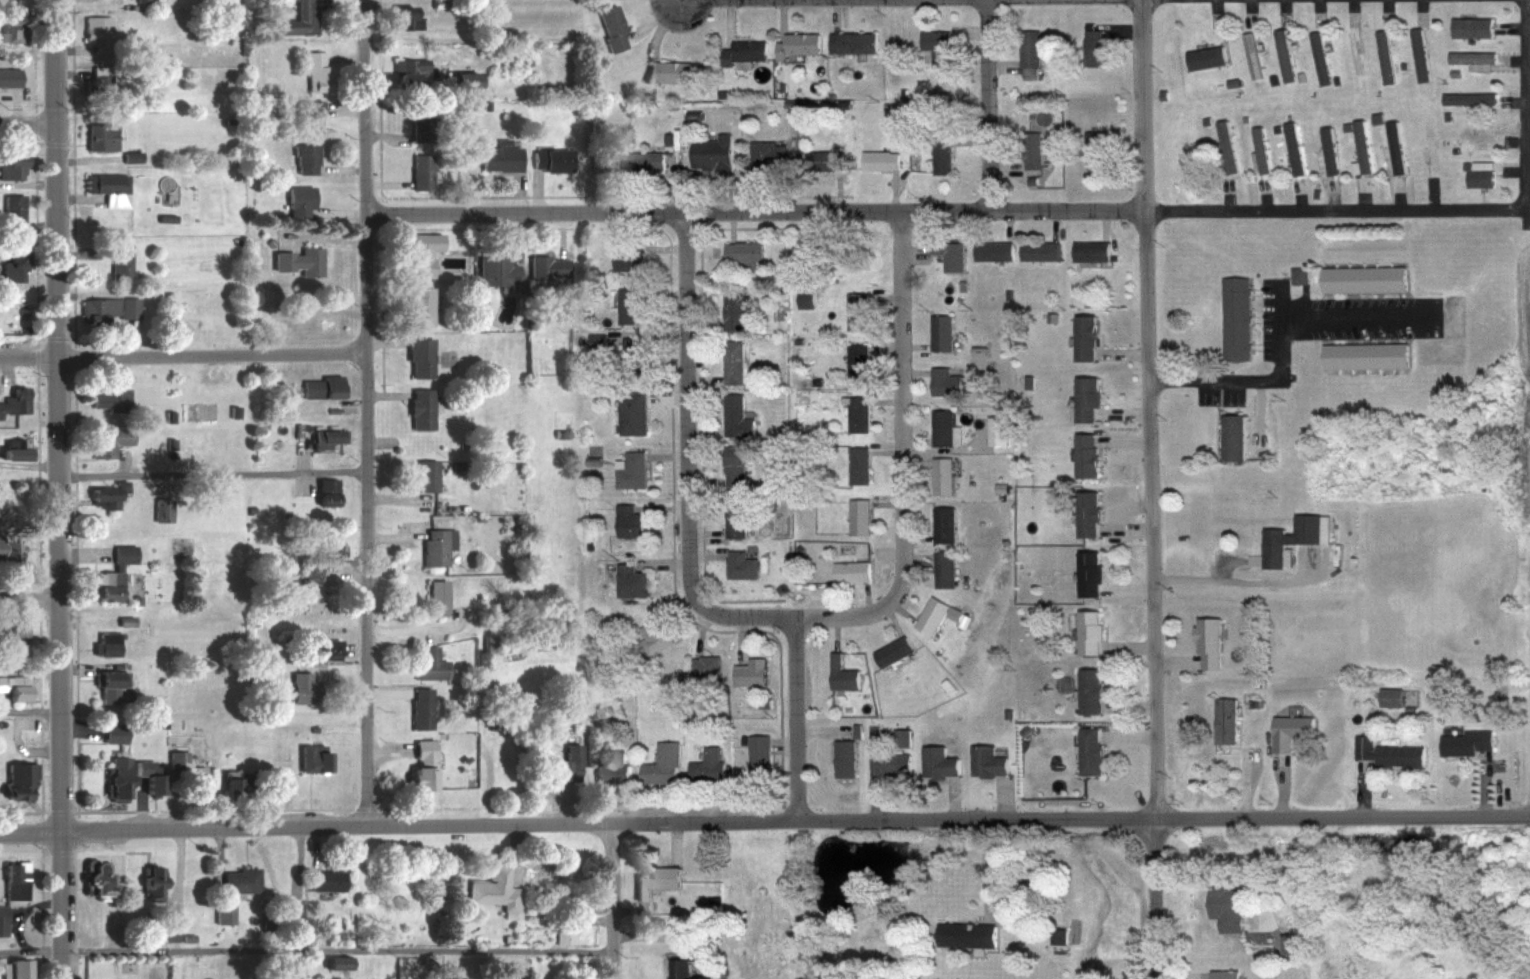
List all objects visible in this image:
road: (1283, 8)
road: (1249, 9)
road: (1352, 9)
road: (1387, 9)
road: (1421, 9)
road: (1319, 10)
building: (402, 17)
building: (295, 19)
building: (9, 22)
road: (1115, 23)
road: (1513, 23)
building: (1470, 25)
building: (609, 27)
road: (1219, 28)
building: (95, 30)
building: (853, 41)
building: (799, 43)
building: (937, 46)
building: (1092, 46)
building: (744, 50)
building: (1029, 52)
building: (1250, 52)
building: (1354, 52)
building: (1418, 52)
building: (1284, 53)
building: (1204, 55)
building: (1320, 55)
building: (1383, 55)
building: (1471, 57)
road: (1515, 59)
building: (1403, 62)
road: (1001, 64)
building: (407, 69)
building: (312, 70)
building: (673, 70)
building: (1454, 71)
building: (1299, 74)
building: (7, 76)
building: (1272, 76)
building: (1335, 77)
building: (99, 80)
building: (460, 80)
building: (1231, 80)
building: (1163, 92)
building: (1468, 96)
road: (1514, 97)
road: (990, 105)
building: (419, 114)
building: (1376, 114)
building: (1447, 114)
building: (304, 115)
building: (1243, 116)
building: (1205, 118)
road: (27, 124)
building: (1345, 124)
building: (1276, 126)
road: (1128, 132)
road: (1527, 133)
building: (1473, 136)
building: (98, 137)
road: (1517, 137)
building: (1395, 143)
building: (1225, 144)
building: (1293, 145)
building: (1031, 147)
building: (1094, 147)
building: (1455, 147)
building: (1328, 148)
building: (1259, 149)
building: (1360, 149)
building: (768, 151)
building: (712, 152)
building: (943, 155)
building: (497, 157)
building: (303, 158)
building: (548, 159)
building: (825, 159)
building: (879, 159)
building: (646, 160)
building: (605, 161)
road: (1004, 162)
building: (9, 165)
road: (1513, 165)
building: (418, 171)
building: (1477, 171)
building: (1031, 177)
building: (105, 183)
road: (1299, 194)
road: (1330, 194)
road: (1362, 194)
road: (1433, 194)
road: (1226, 195)
road: (1264, 195)
road: (1399, 196)
building: (296, 200)
road: (945, 210)
building: (9, 211)
road: (1103, 221)
road: (729, 222)
road: (816, 222)
road: (1009, 222)
road: (1055, 222)
road: (29, 243)
building: (1090, 247)
building: (994, 248)
building: (1038, 248)
building: (741, 251)
building: (833, 251)
road: (914, 251)
building: (420, 252)
building: (949, 253)
building: (1113, 254)
building: (630, 260)
building: (9, 261)
building: (118, 262)
building: (545, 268)
building: (494, 271)
building: (1297, 272)
building: (1362, 275)
building: (962, 283)
building: (1009, 292)
building: (805, 295)
road: (888, 295)
building: (417, 305)
building: (631, 305)
building: (858, 308)
building: (105, 309)
building: (735, 311)
building: (1051, 315)
building: (1236, 315)
road: (701, 319)
building: (940, 329)
parking lot: (1315, 330)
building: (1083, 335)
road: (889, 342)
road: (915, 344)
building: (978, 347)
road: (1124, 351)
road: (1284, 351)
building: (1362, 353)
road: (184, 355)
building: (417, 357)
building: (634, 357)
building: (857, 358)
building: (732, 360)
road: (914, 370)
road: (702, 374)
building: (946, 378)
building: (1028, 380)
building: (319, 387)
building: (107, 397)
building: (1086, 397)
road: (888, 398)
building: (13, 400)
building: (419, 408)
road: (1152, 409)
building: (856, 410)
road: (1125, 411)
road: (368, 412)
building: (633, 412)
building: (735, 414)
building: (944, 427)
building: (996, 428)
road: (702, 431)
building: (1229, 434)
building: (325, 437)
road: (1125, 438)
building: (108, 439)
building: (11, 448)
road: (944, 448)
road: (888, 450)
building: (1085, 454)
road: (905, 456)
road: (688, 457)
road: (916, 462)
building: (857, 463)
building: (733, 466)
building: (632, 470)
road: (214, 473)
building: (942, 473)
building: (425, 476)
road: (702, 480)
building: (1000, 486)
road: (60, 489)
building: (325, 492)
building: (101, 495)
road: (888, 500)
building: (160, 509)
building: (1086, 512)
building: (737, 513)
building: (858, 513)
building: (630, 520)
building: (943, 521)
road: (1125, 526)
road: (703, 532)
road: (917, 533)
building: (1291, 537)
building: (9, 546)
building: (436, 546)
road: (890, 550)
building: (1332, 553)
road: (702, 555)
road: (918, 558)
building: (738, 563)
building: (943, 566)
building: (851, 569)
building: (1088, 571)
building: (112, 574)
building: (630, 580)
road: (1240, 580)
building: (780, 585)
road: (1127, 586)
road: (30, 595)
building: (436, 597)
road: (865, 599)
road: (901, 607)
building: (939, 612)
building: (11, 628)
road: (835, 628)
building: (1087, 630)
building: (654, 637)
building: (1207, 639)
building: (486, 643)
road: (1130, 643)
building: (104, 644)
building: (322, 648)
building: (892, 648)
road: (1175, 657)
building: (1435, 664)
building: (429, 665)
building: (705, 666)
building: (841, 671)
building: (750, 672)
building: (109, 678)
building: (947, 684)
building: (17, 685)
building: (301, 688)
building: (1088, 688)
building: (1389, 694)
road: (1130, 703)
building: (1410, 707)
building: (420, 708)
building: (1007, 710)
road: (30, 712)
building: (1018, 712)
road: (798, 717)
building: (1223, 718)
building: (1288, 727)
road: (823, 728)
building: (855, 728)
building: (108, 733)
road: (1130, 734)
building: (901, 737)
building: (1465, 740)
road: (23, 747)
building: (1088, 749)
building: (1384, 749)
building: (759, 755)
building: (845, 755)
building: (311, 758)
building: (985, 759)
building: (937, 761)
building: (891, 762)
building: (663, 764)
building: (566, 765)
building: (420, 767)
building: (708, 767)
building: (612, 769)
road: (869, 771)
building: (185, 773)
building: (147, 776)
building: (15, 777)
building: (113, 779)
road: (1243, 783)
building: (232, 786)
road: (1481, 786)
road: (1282, 787)
road: (1362, 788)
road: (953, 797)
road: (1002, 797)
road: (1165, 818)
road: (399, 824)
road: (672, 838)
road: (217, 846)
road: (513, 851)
road: (295, 860)
road: (990, 866)
road: (176, 869)
road: (1263, 870)
building: (653, 876)
building: (93, 877)
building: (237, 878)
building: (323, 878)
building: (149, 881)
building: (12, 882)
building: (491, 887)
road: (1158, 898)
road: (613, 900)
building: (1226, 904)
building: (289, 907)
building: (221, 910)
building: (1, 920)
road: (595, 920)
road: (107, 927)
building: (561, 928)
building: (165, 929)
building: (450, 930)
building: (966, 932)
building: (1057, 933)
road: (647, 935)
building: (187, 936)
building: (502, 936)
building: (1286, 942)
road: (306, 948)
building: (332, 960)
building: (689, 966)
building: (15, 969)
building: (1223, 973)
road: (1181, 975)
building: (447, 977)

